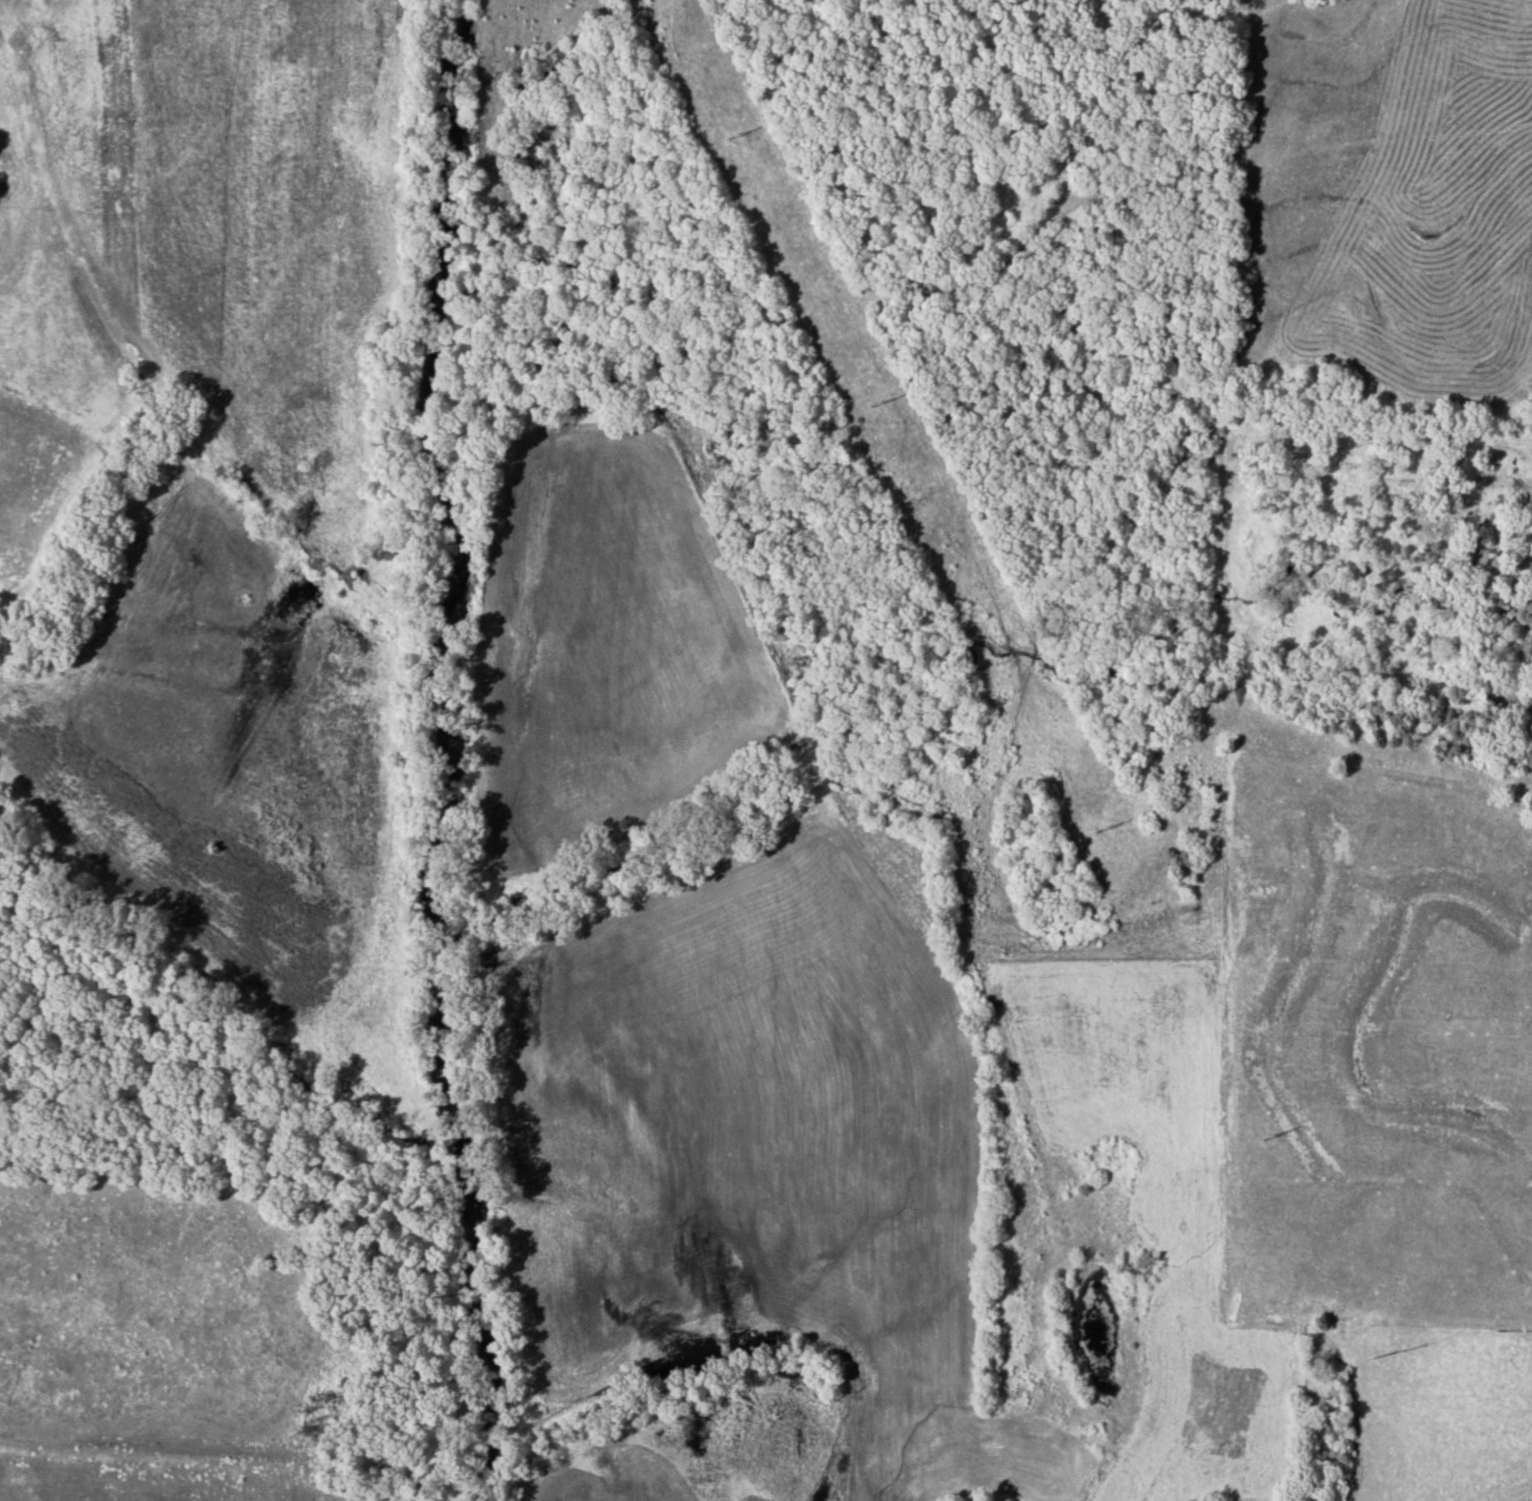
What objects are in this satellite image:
power tower: (733, 134)
power tower: (879, 406)
power tower: (1102, 824)
power tower: (1272, 1146)
power tower: (1389, 1359)

